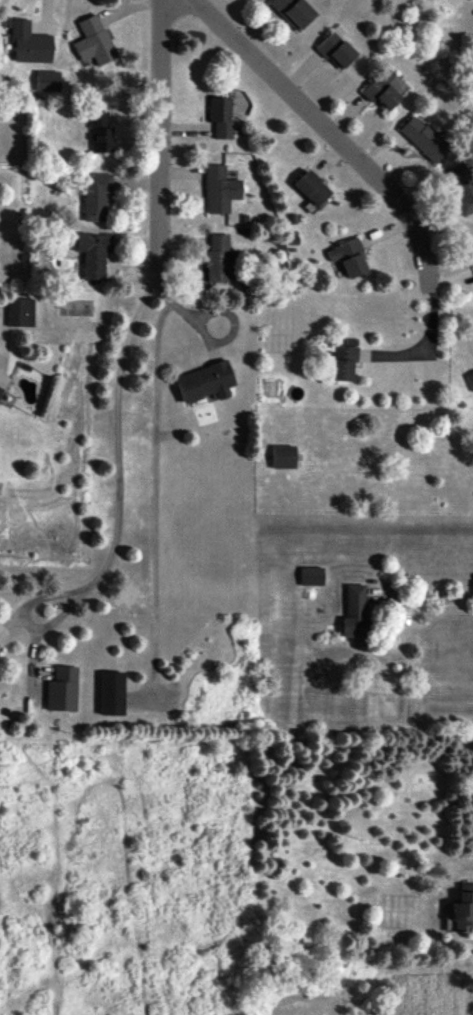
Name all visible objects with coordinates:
building: (293, 11)
building: (95, 40)
building: (29, 42)
building: (336, 49)
building: (48, 79)
building: (382, 90)
building: (220, 116)
building: (101, 132)
road: (332, 134)
road: (157, 135)
building: (424, 137)
building: (463, 187)
building: (220, 189)
building: (312, 189)
building: (96, 194)
building: (472, 247)
building: (93, 252)
building: (218, 257)
building: (349, 257)
road: (172, 301)
building: (21, 311)
road: (205, 335)
road: (429, 350)
building: (343, 361)
building: (471, 379)
building: (205, 381)
building: (0, 388)
road: (120, 453)
building: (284, 456)
road: (155, 498)
building: (311, 573)
road: (435, 598)
building: (354, 613)
building: (63, 688)
building: (111, 692)
building: (463, 908)

